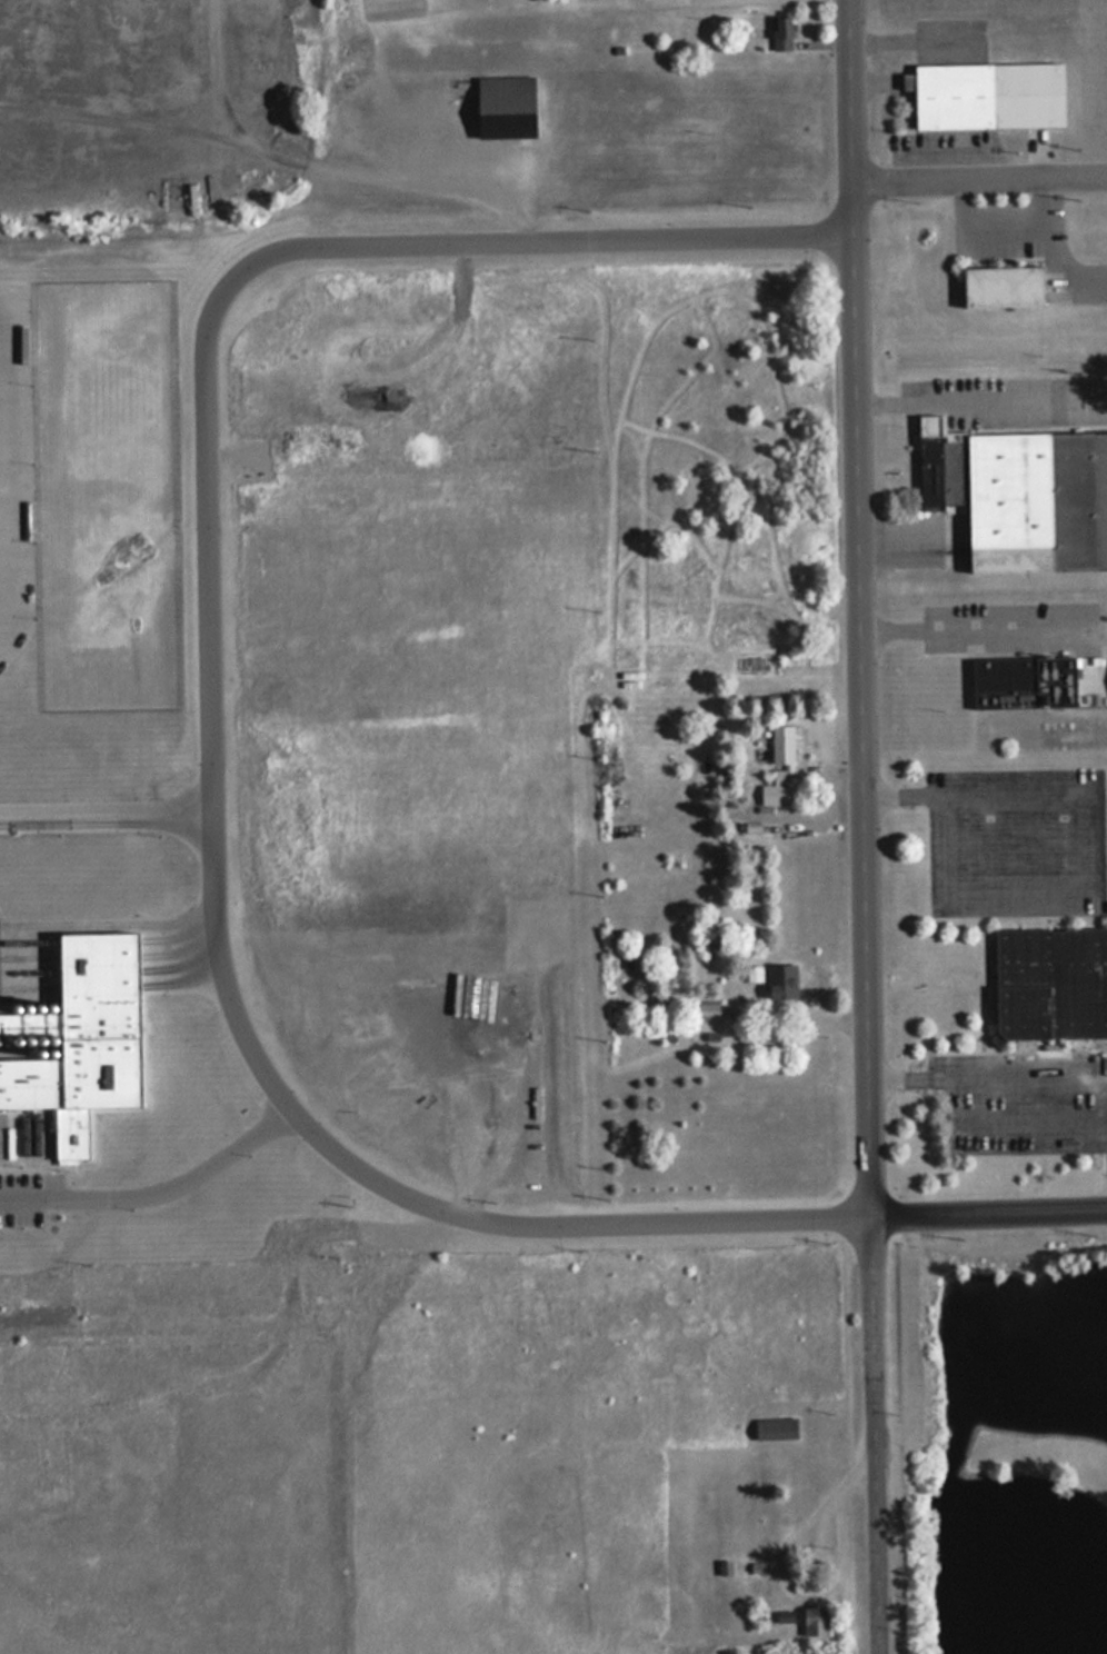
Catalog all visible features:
building: (779, 33)
building: (985, 96)
building: (505, 107)
road: (981, 183)
building: (191, 199)
road: (428, 242)
building: (999, 288)
building: (1019, 496)
road: (985, 626)
road: (211, 657)
building: (1023, 684)
building: (781, 746)
building: (780, 787)
road: (865, 827)
building: (780, 983)
building: (1049, 985)
building: (707, 1010)
road: (987, 1087)
road: (989, 1216)
building: (775, 1431)
building: (812, 1623)

